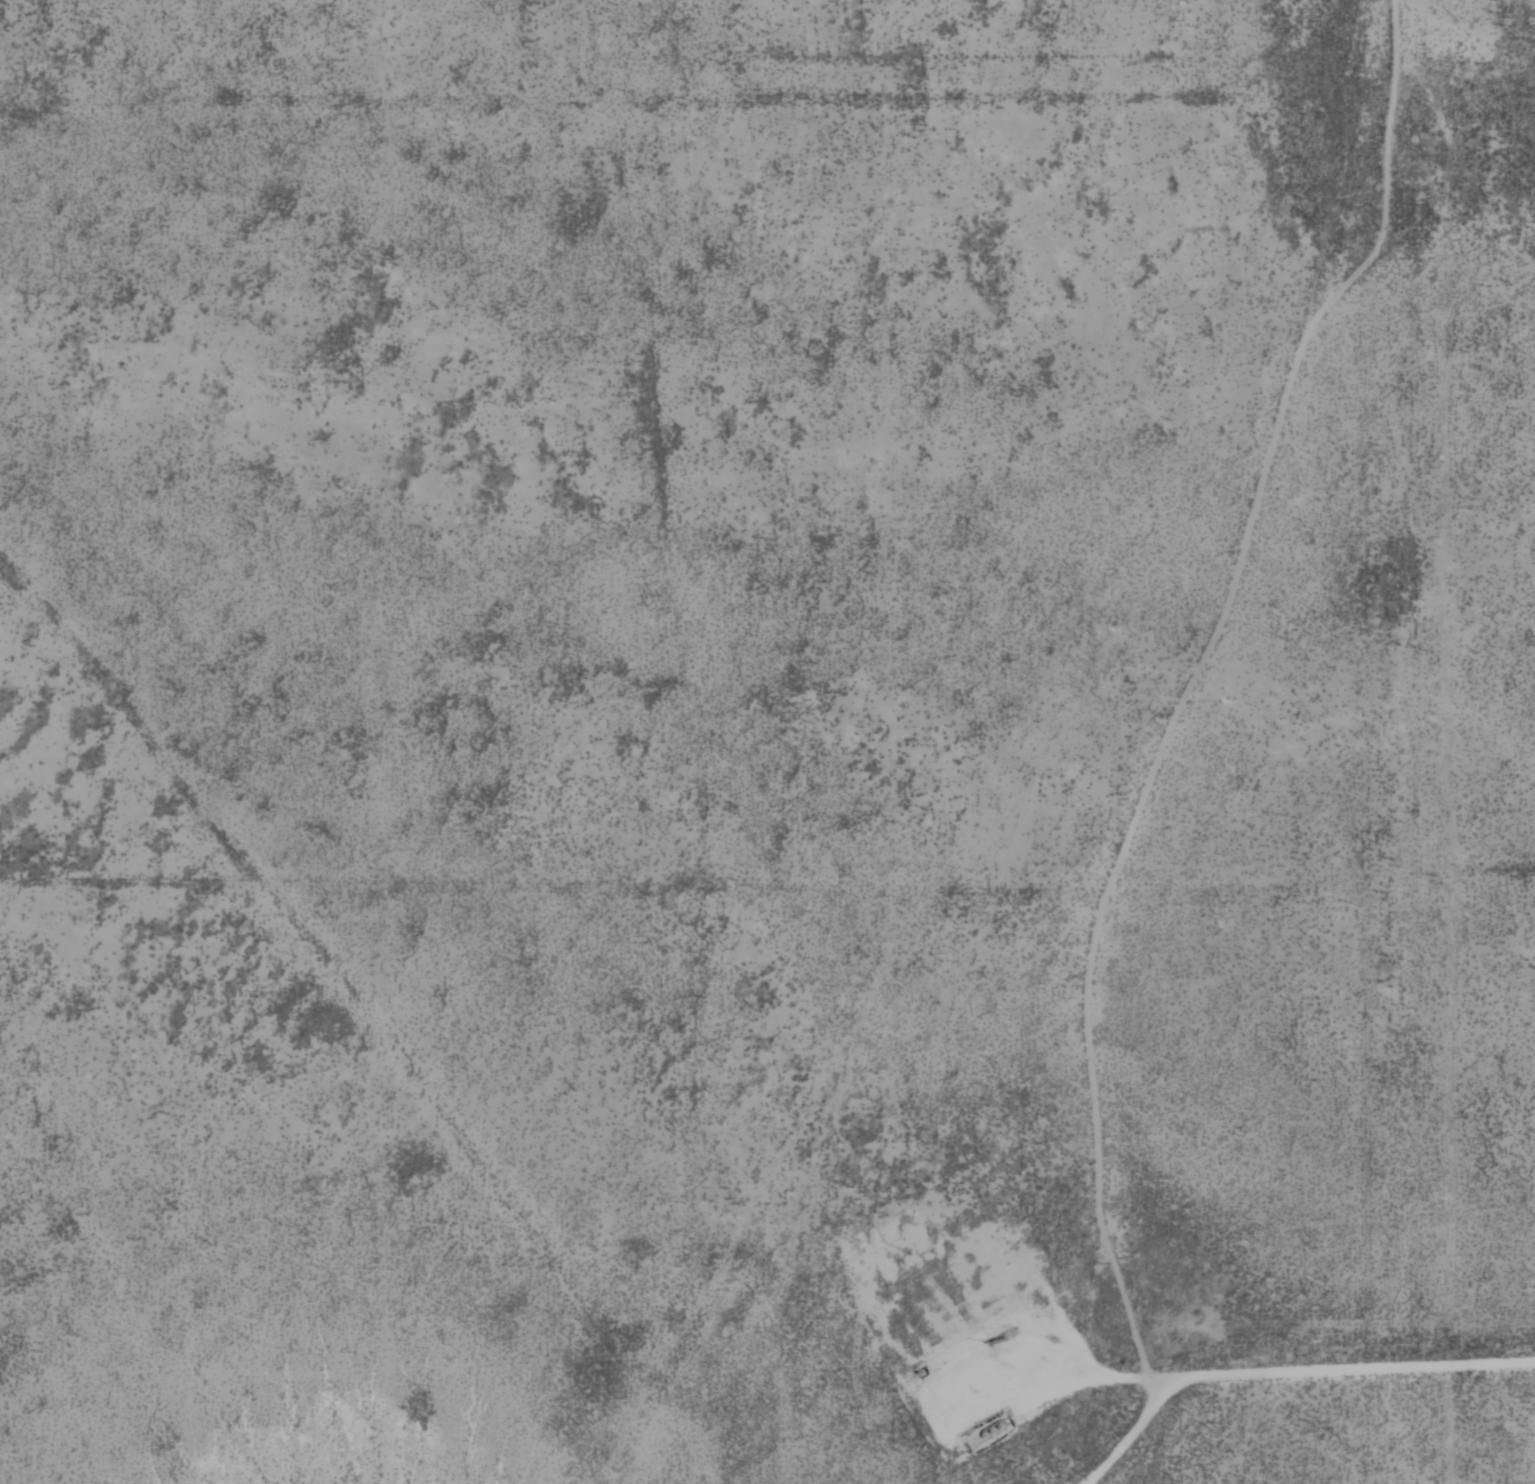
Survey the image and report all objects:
road: (1284, 1370)

